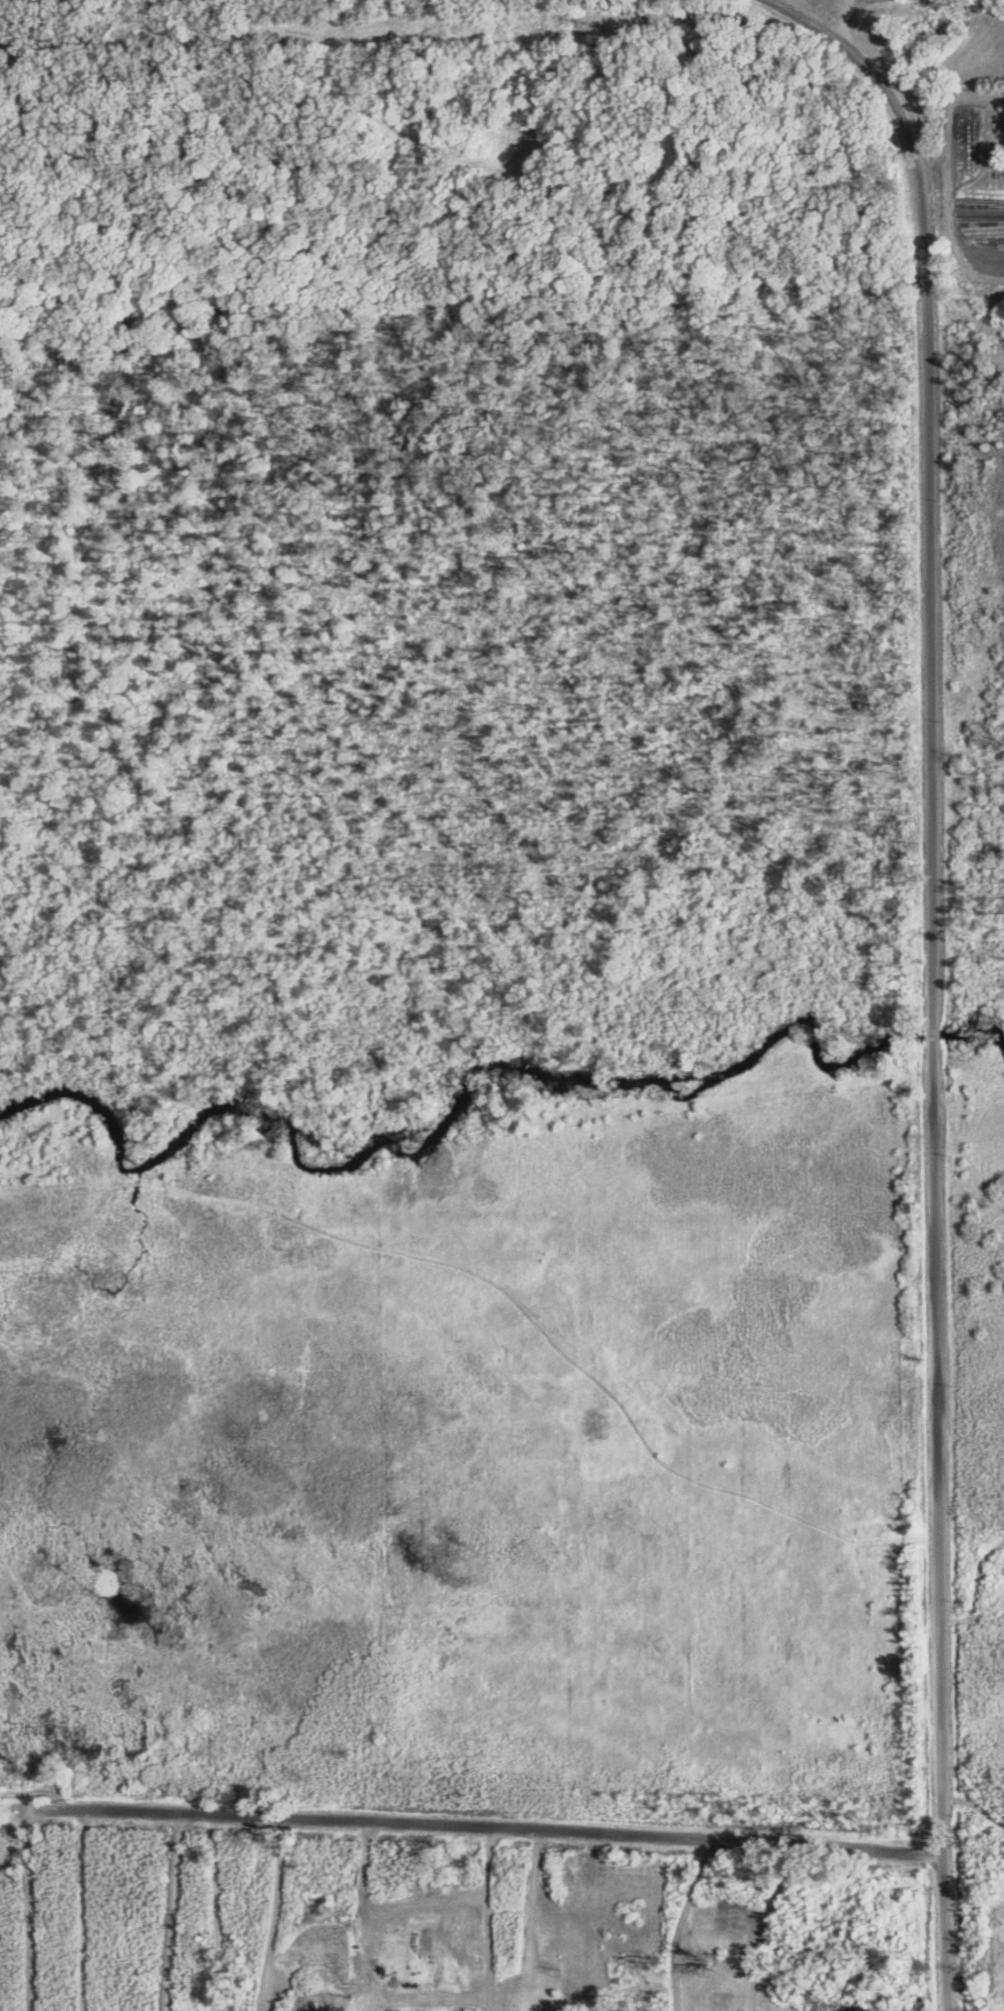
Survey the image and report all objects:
road: (842, 15)
road: (937, 977)
road: (472, 1822)
road: (88, 1907)
road: (279, 1912)
road: (494, 1917)
road: (684, 1920)

